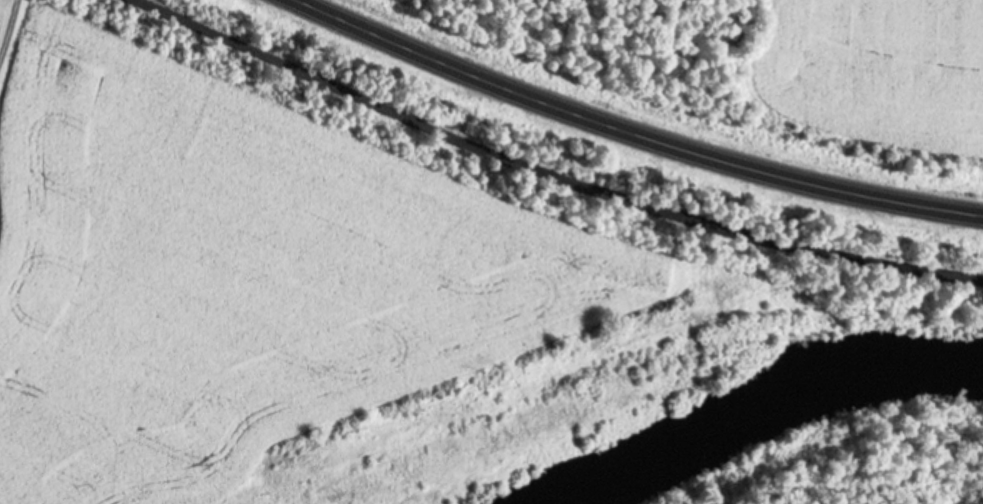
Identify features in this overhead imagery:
road: (635, 132)
road: (556, 175)
river: (755, 407)

